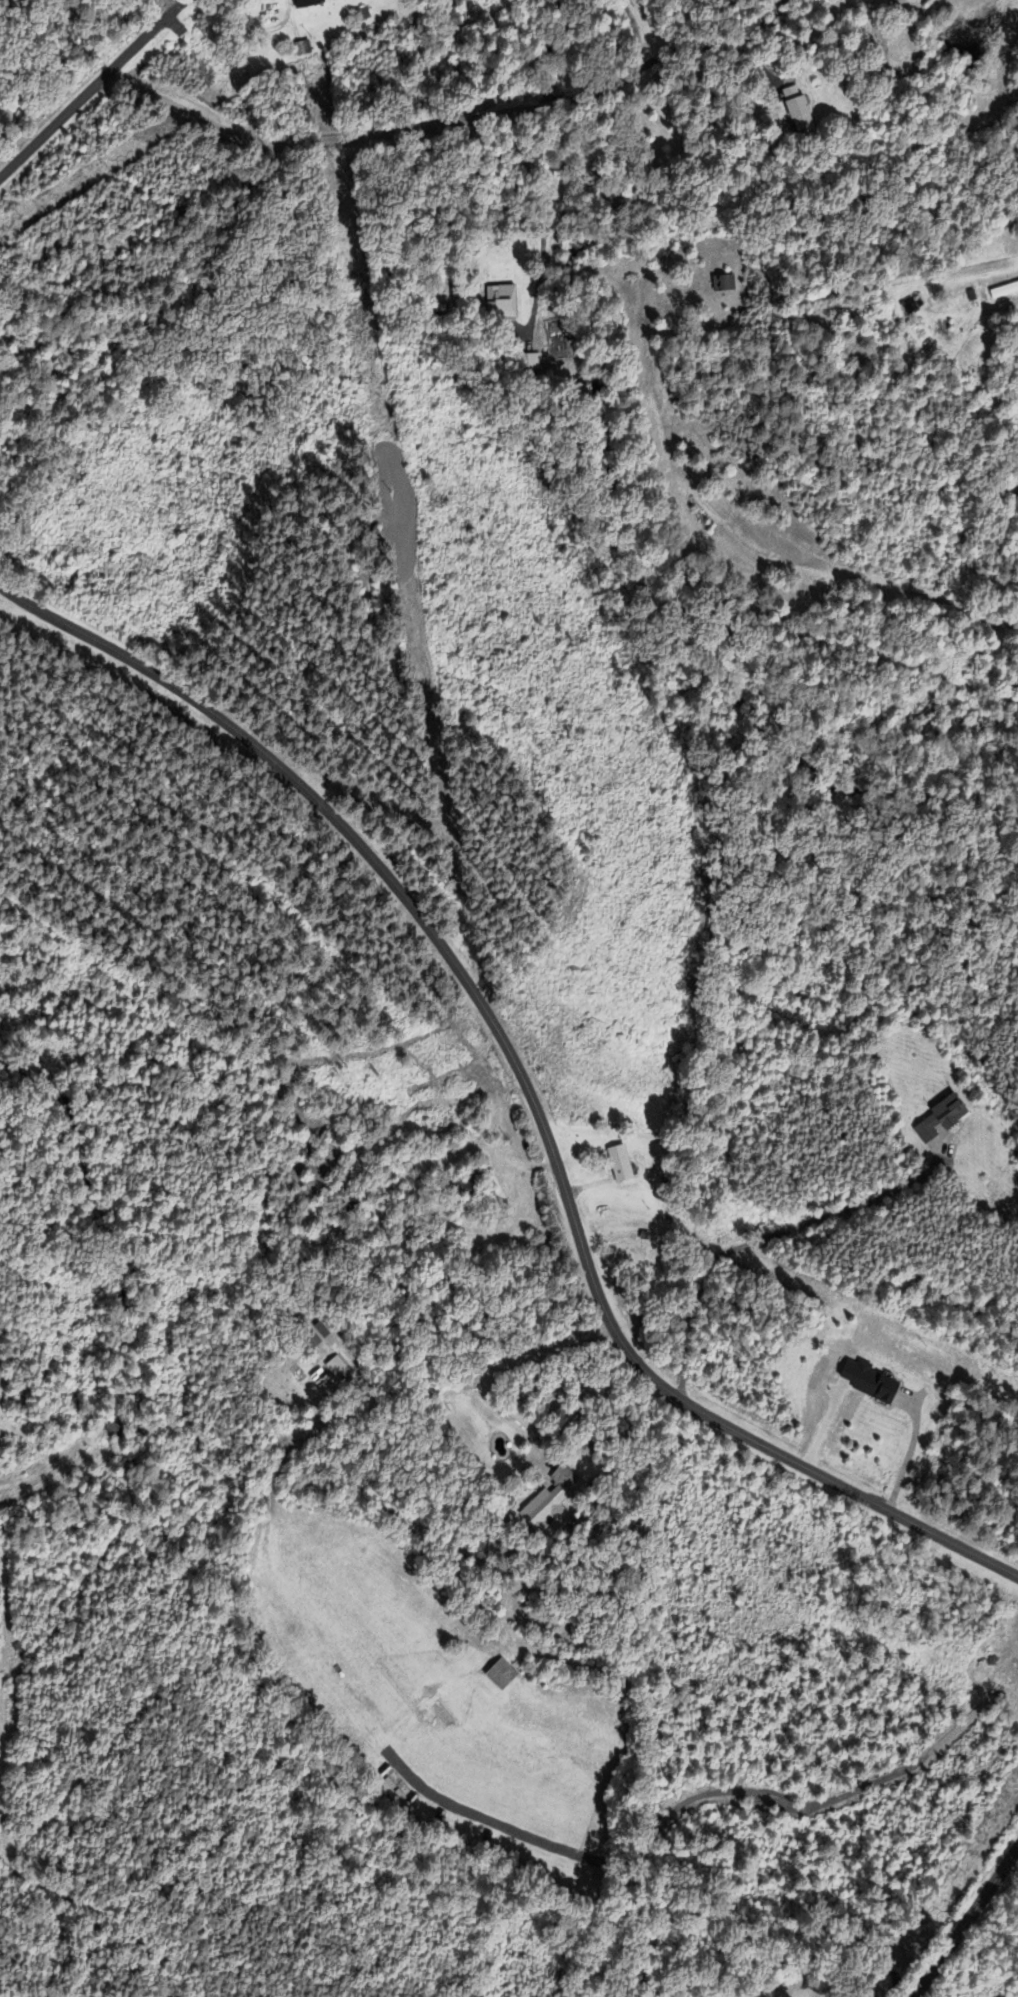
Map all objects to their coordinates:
road: (178, 1)
building: (309, 2)
building: (452, 15)
road: (253, 27)
building: (303, 47)
road: (655, 59)
road: (91, 88)
building: (797, 110)
road: (307, 141)
road: (237, 223)
road: (540, 223)
building: (724, 282)
building: (1004, 287)
building: (503, 302)
road: (526, 1084)
building: (940, 1117)
building: (621, 1162)
building: (466, 1183)
building: (349, 1203)
road: (767, 1237)
building: (314, 1339)
road: (495, 1375)
building: (884, 1388)
road: (524, 1418)
road: (909, 1451)
building: (567, 1476)
building: (543, 1508)
building: (502, 1673)
road: (965, 1921)

